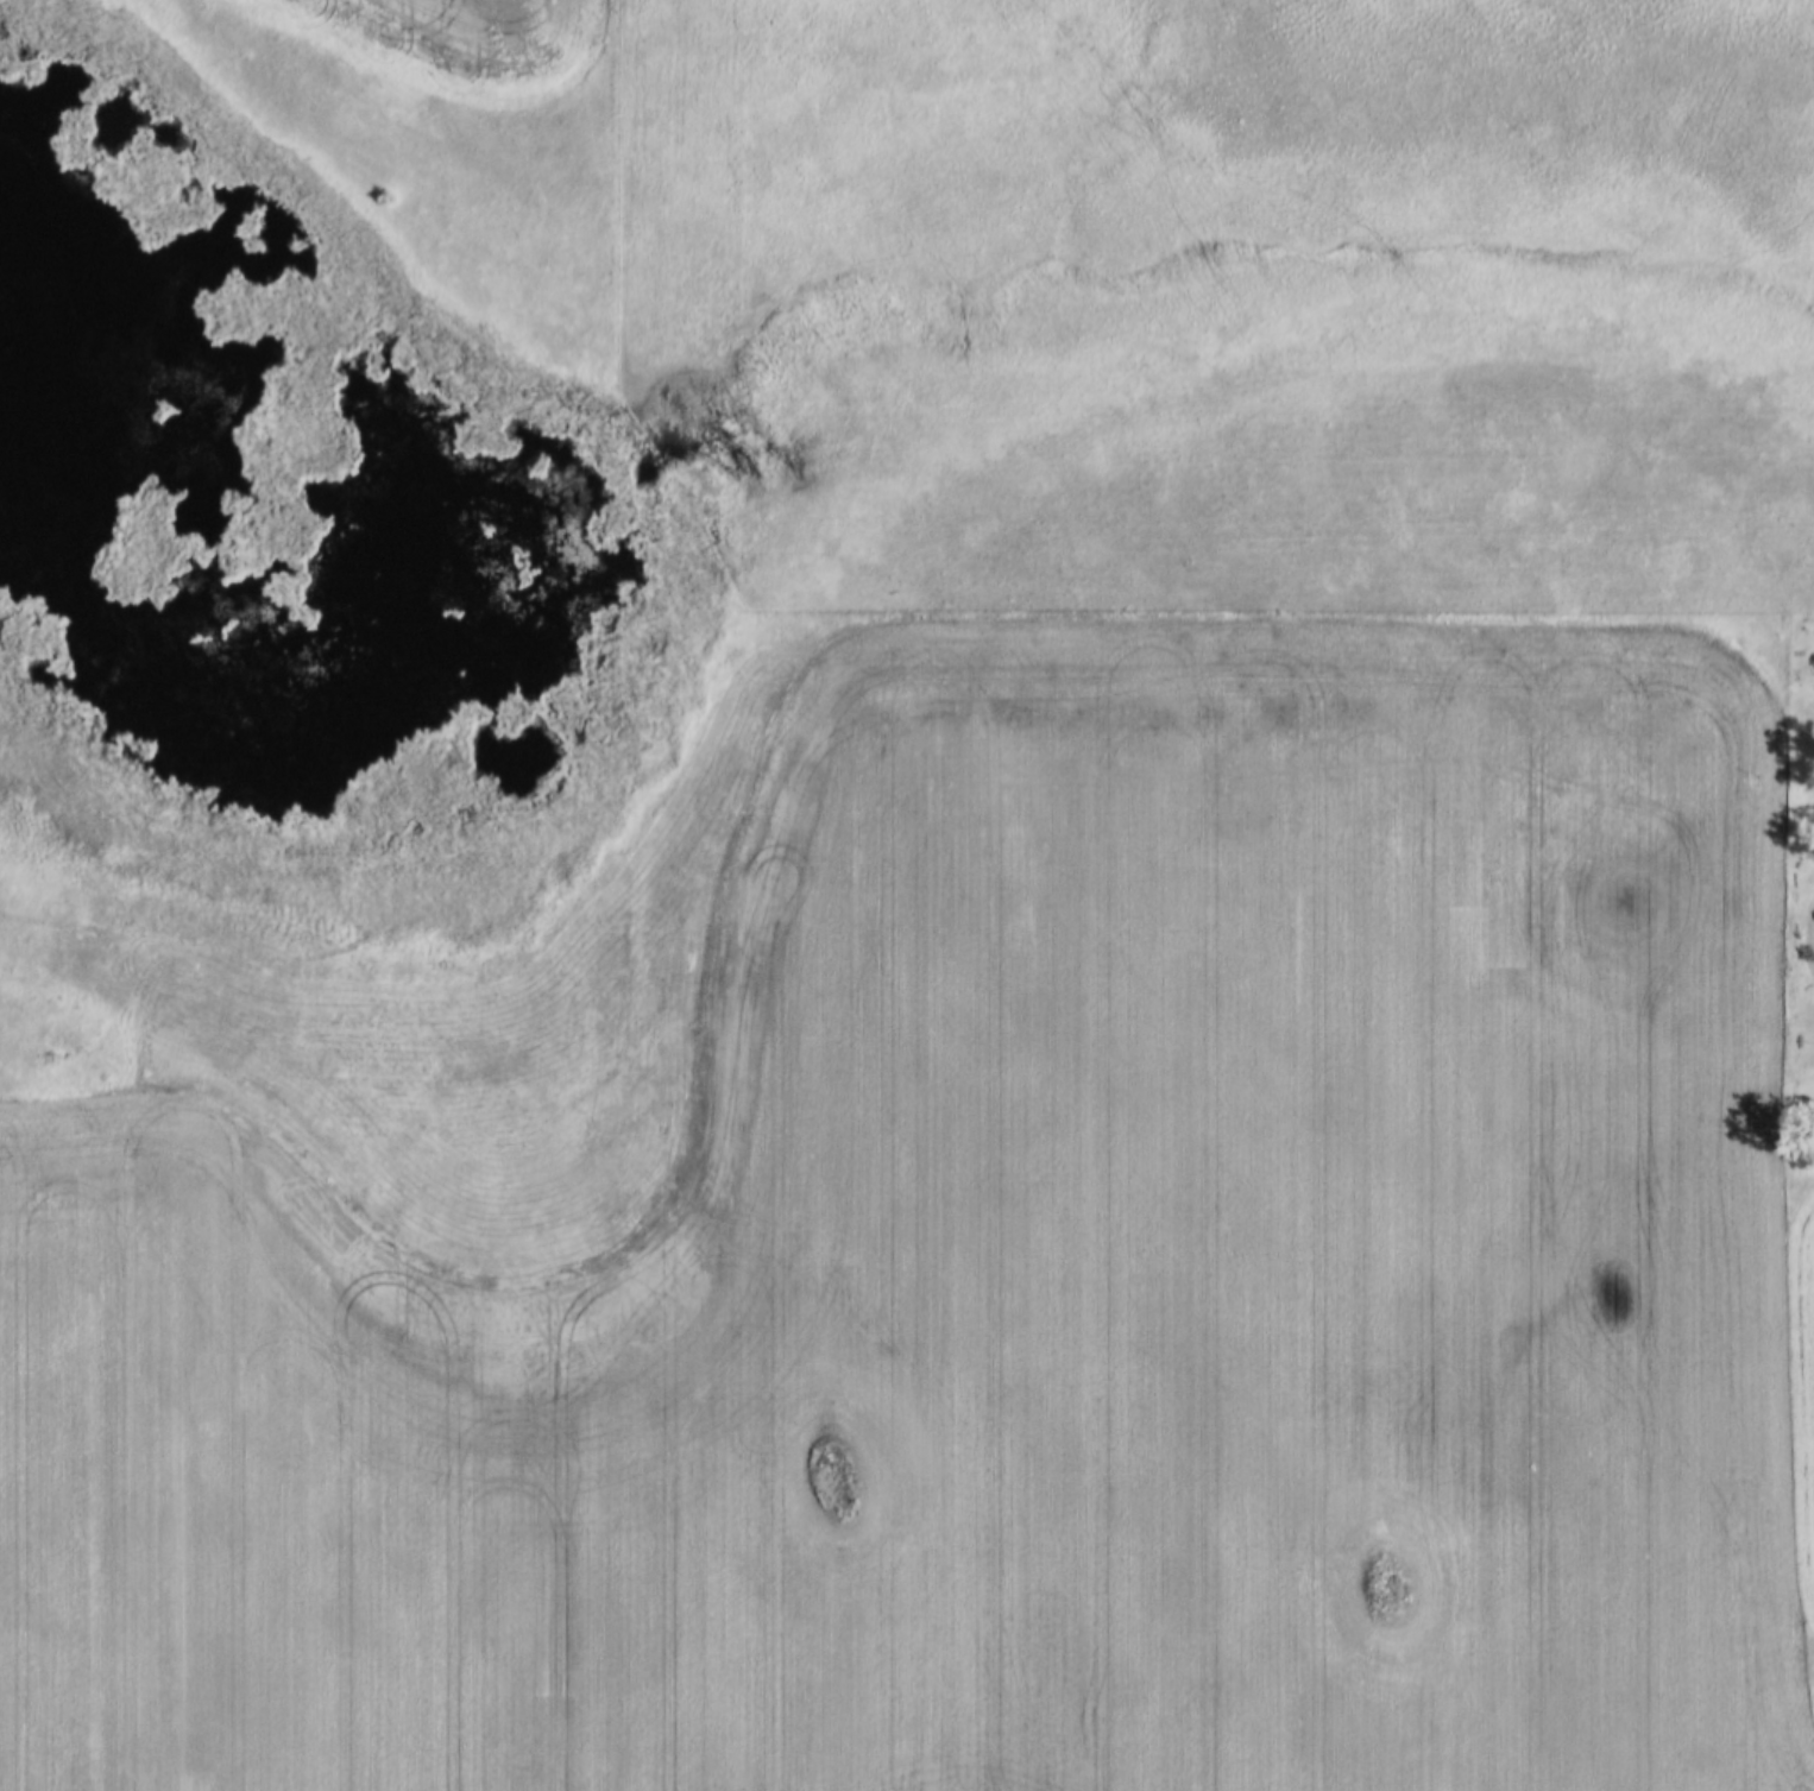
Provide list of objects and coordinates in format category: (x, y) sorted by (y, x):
building: (1810, 664)

